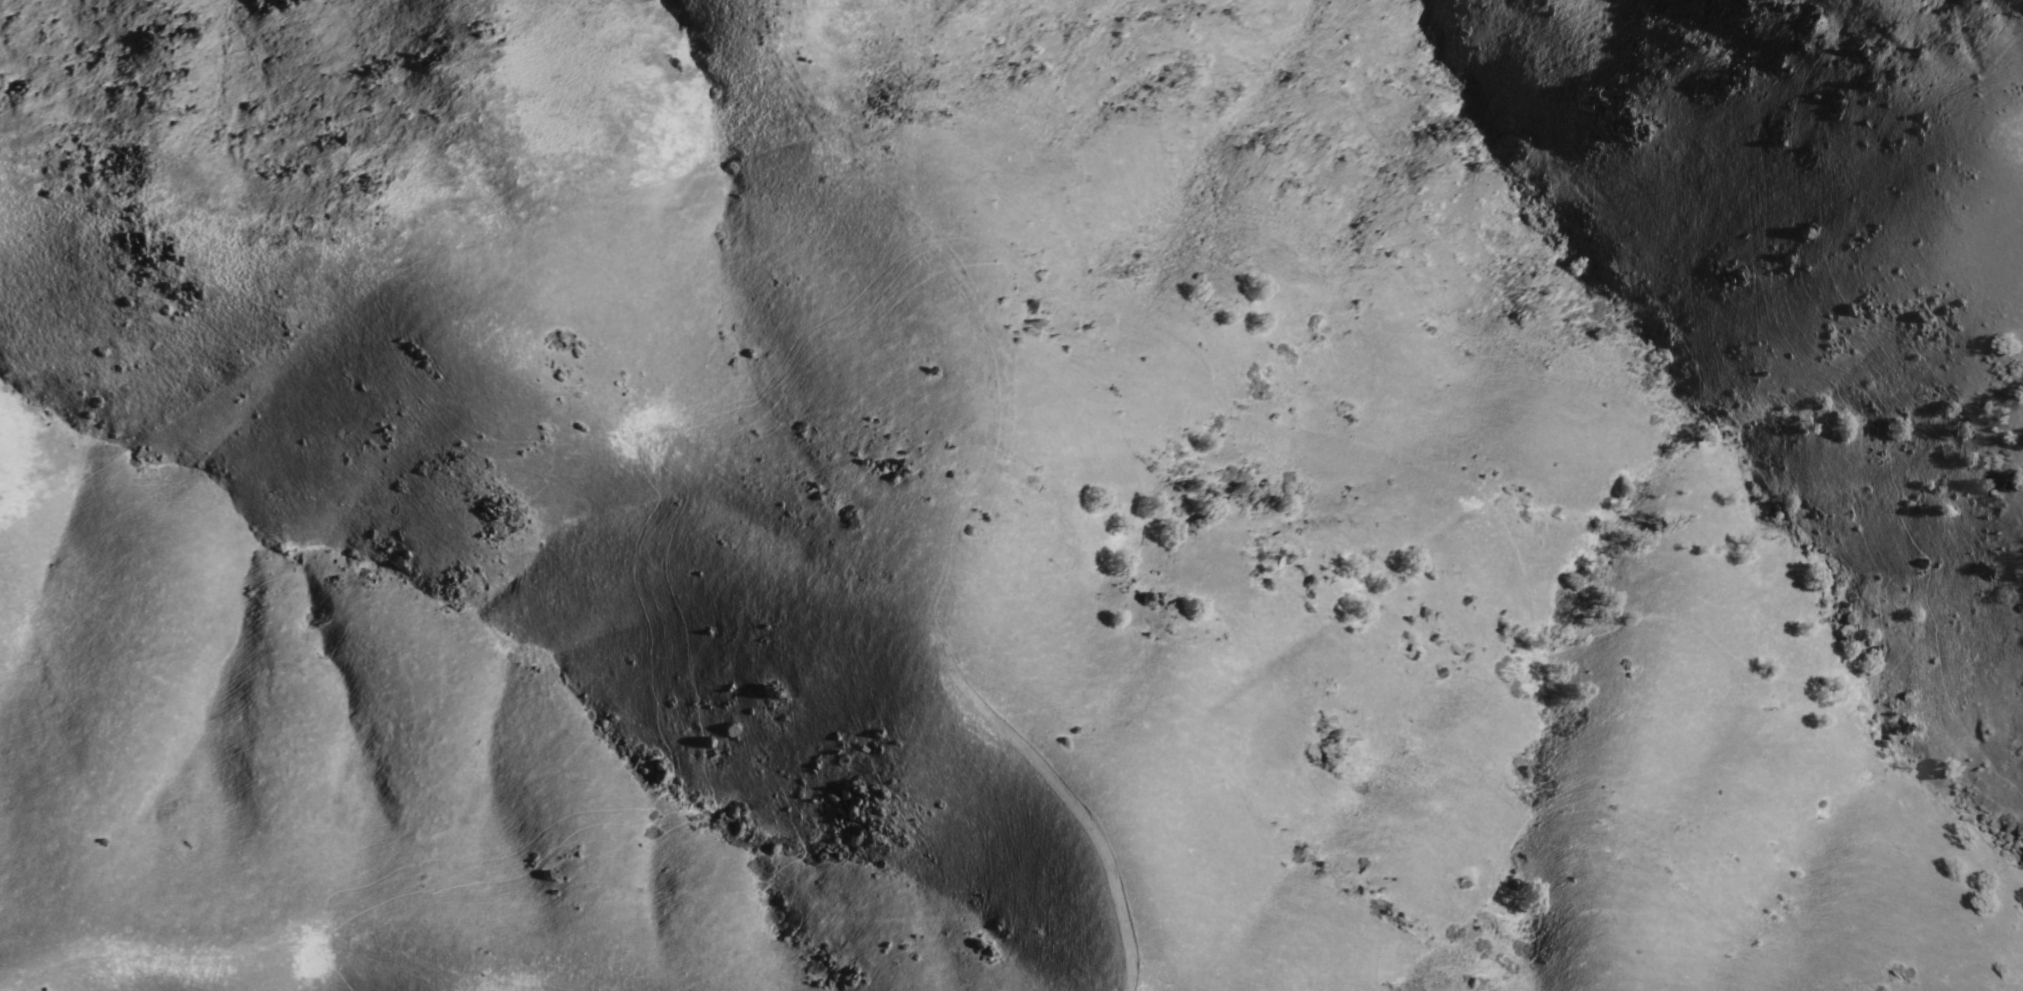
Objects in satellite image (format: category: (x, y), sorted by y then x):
building: (1150, 602)

